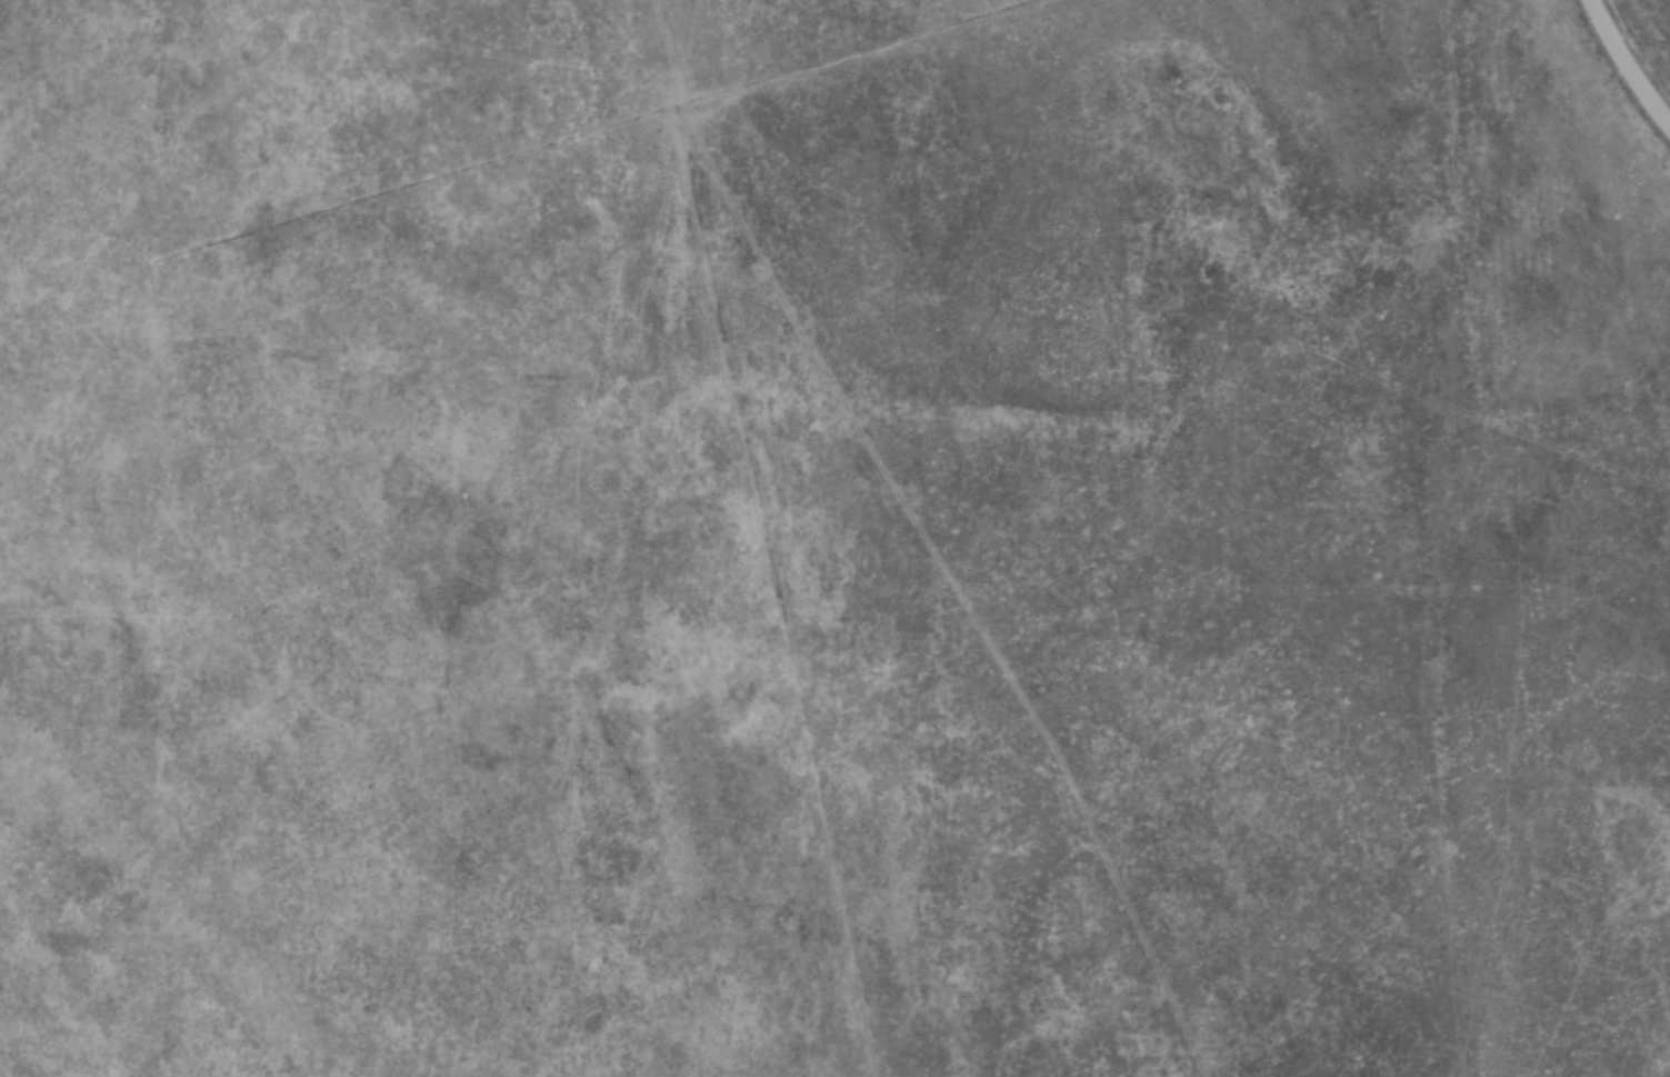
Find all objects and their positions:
road: (1627, 63)

